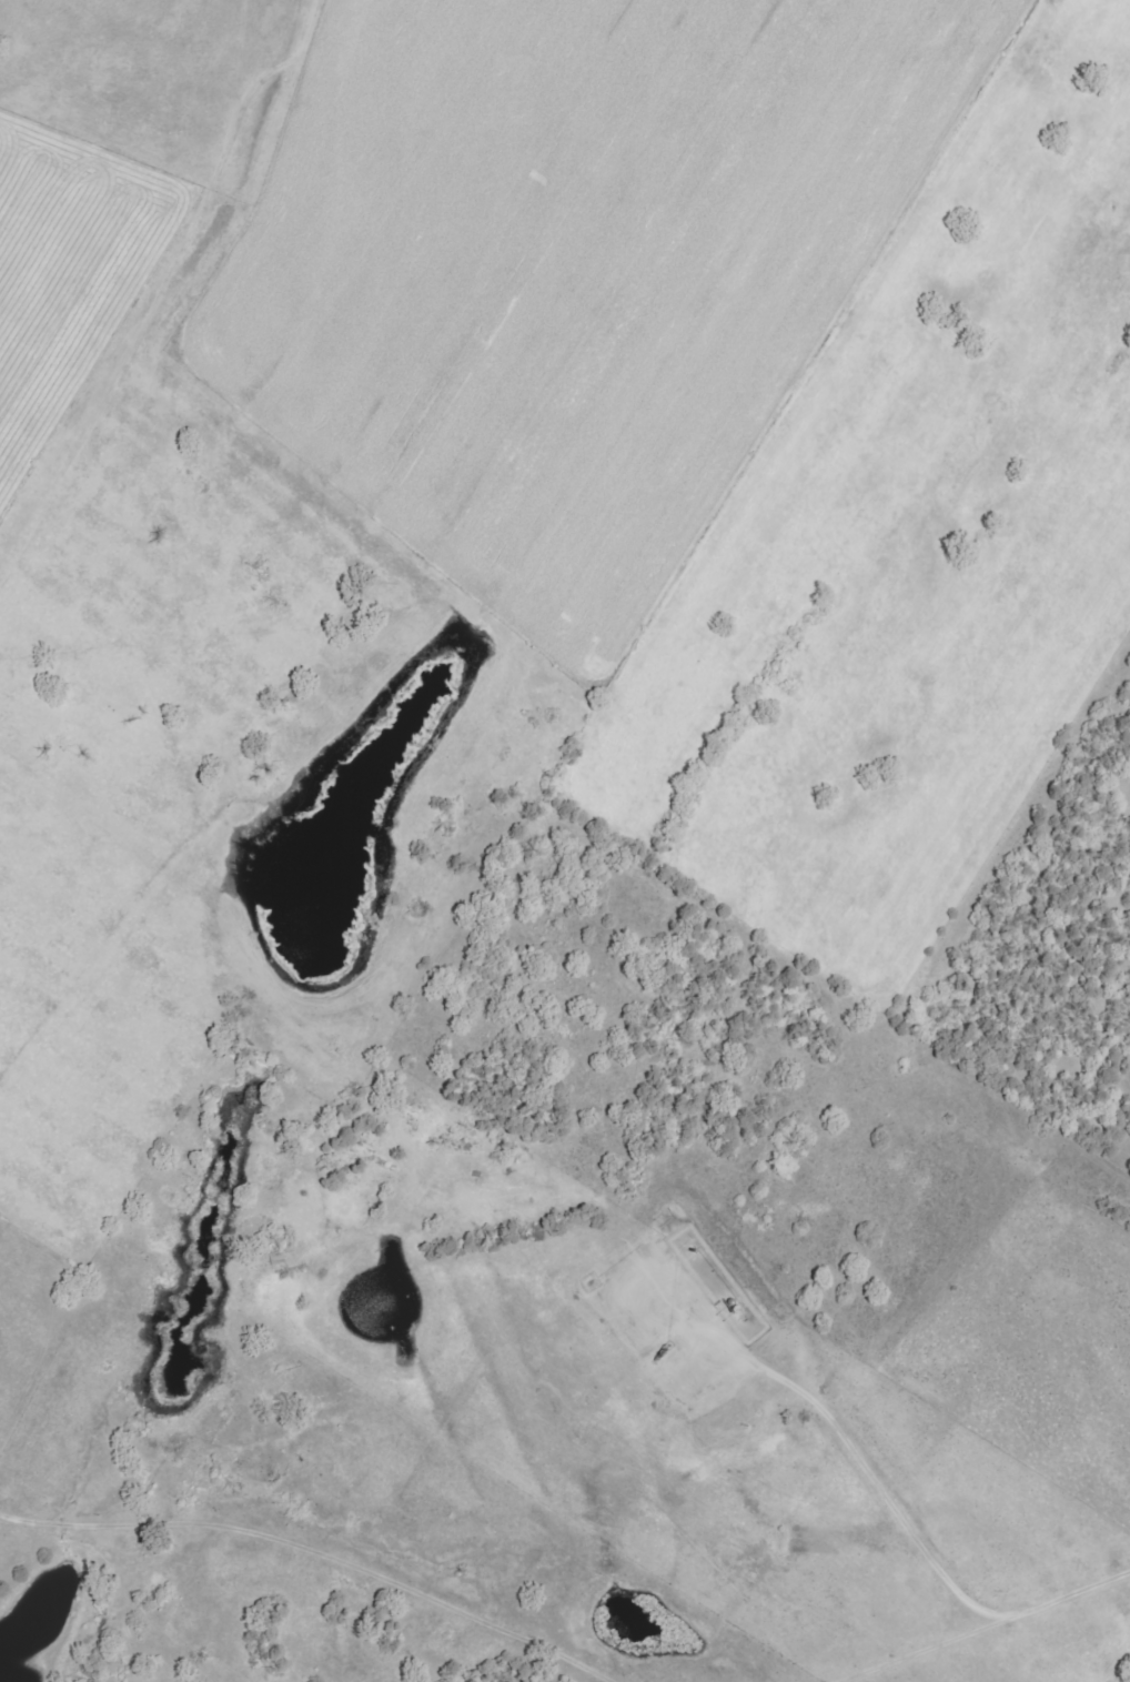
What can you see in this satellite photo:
road: (173, 291)
petroleum well: (660, 1350)
road: (1052, 1594)

